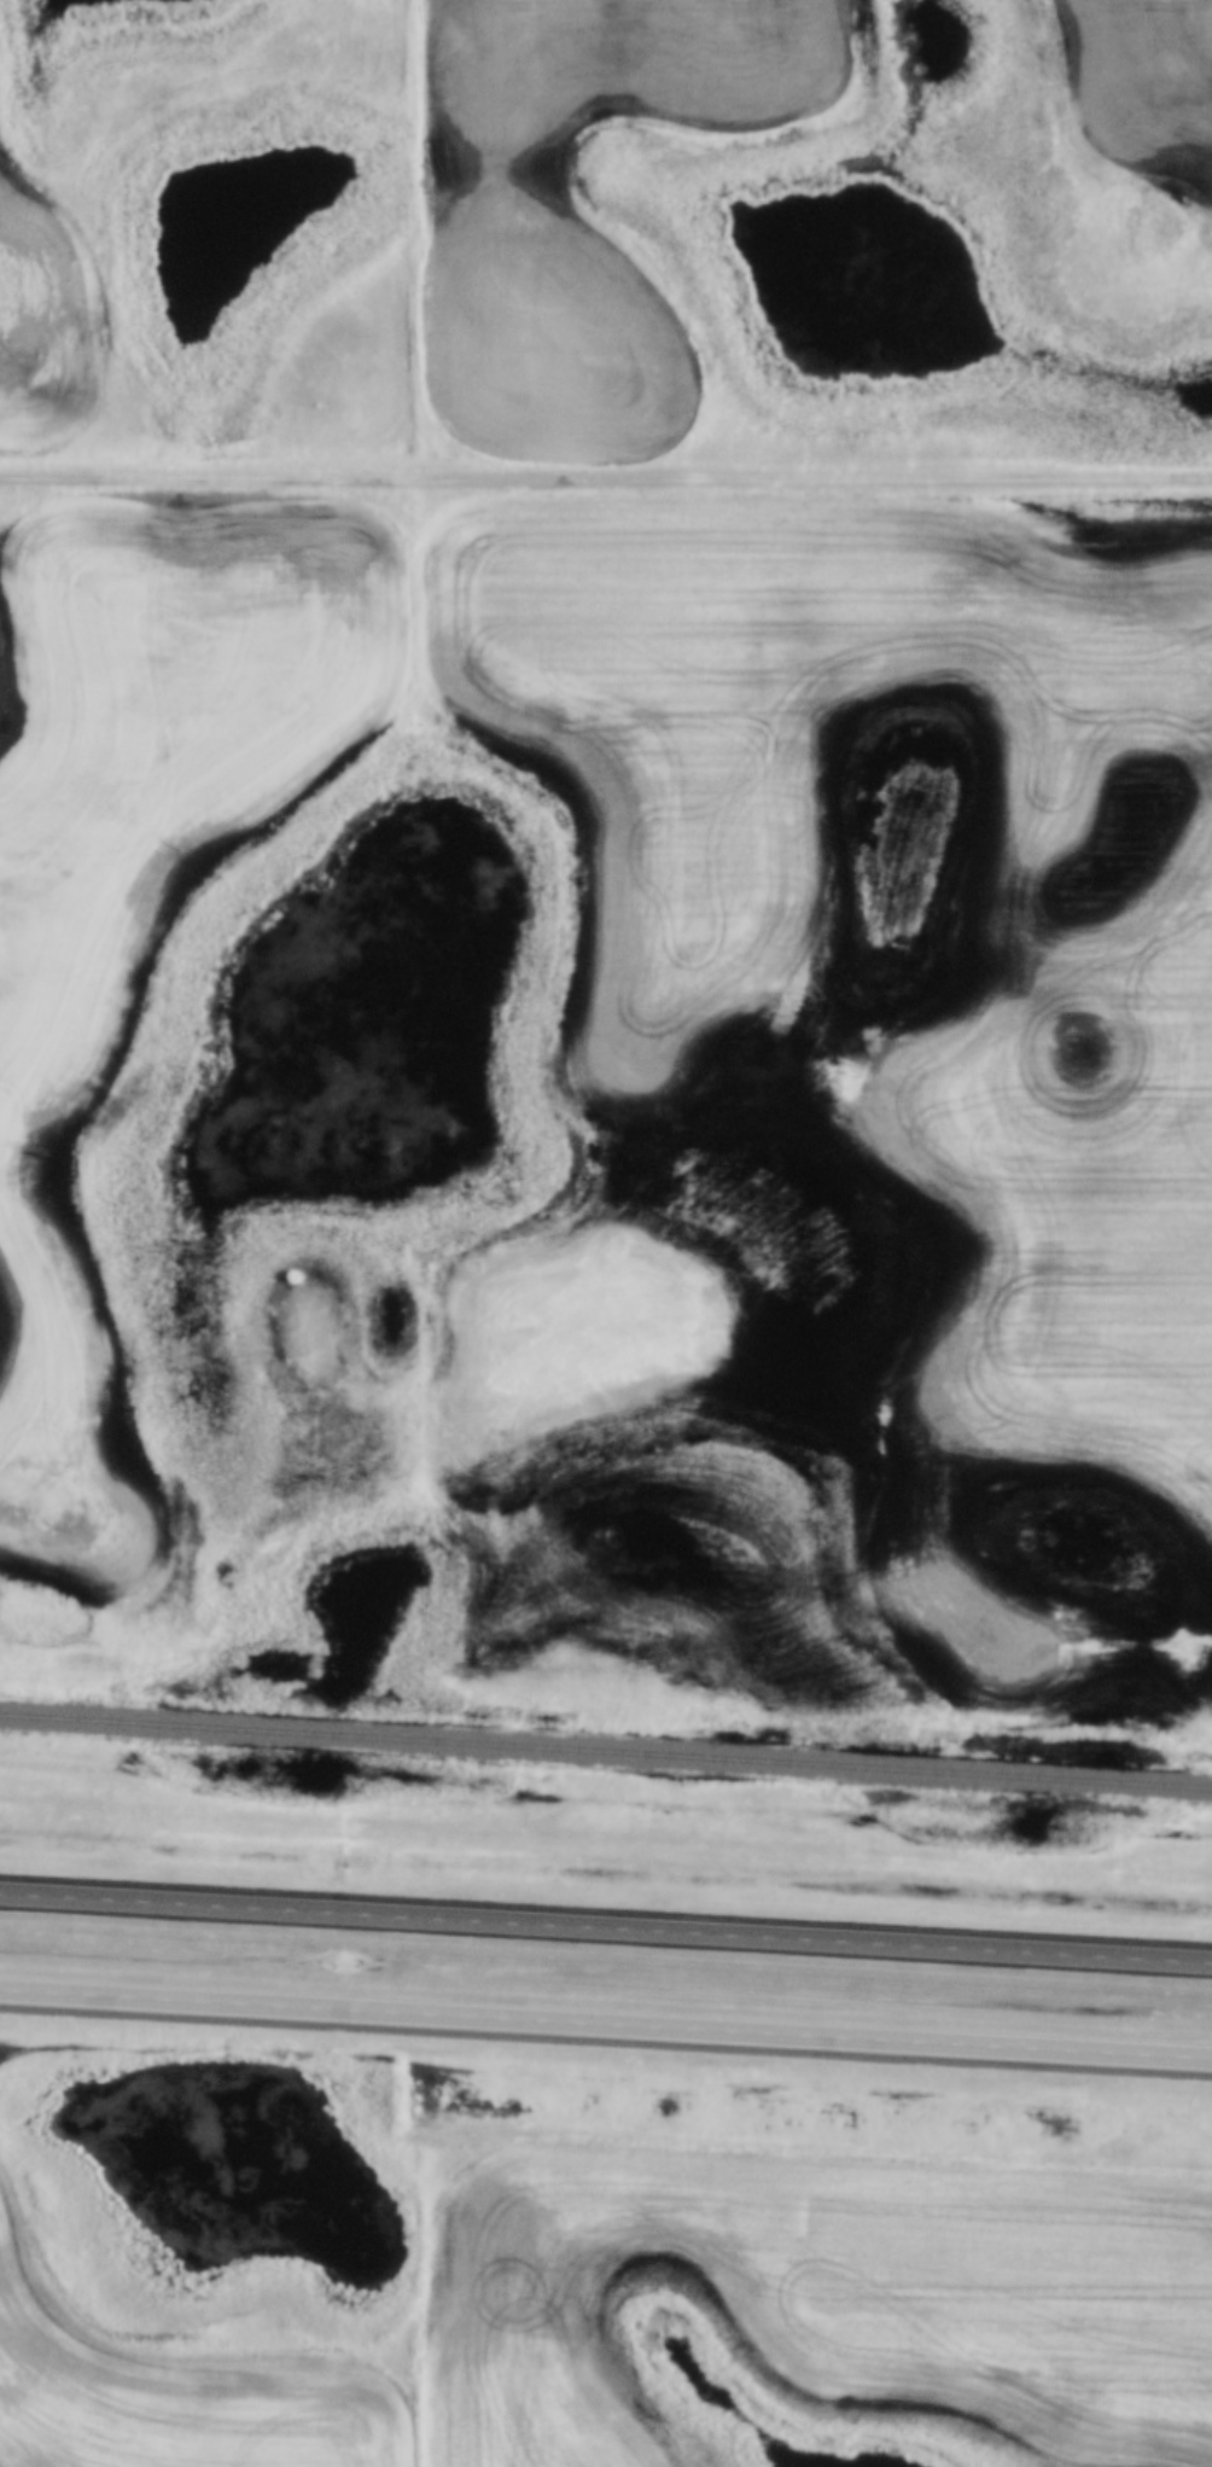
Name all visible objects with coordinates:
road: (606, 476)
railway: (606, 1751)
road: (606, 1924)
road: (605, 2023)

